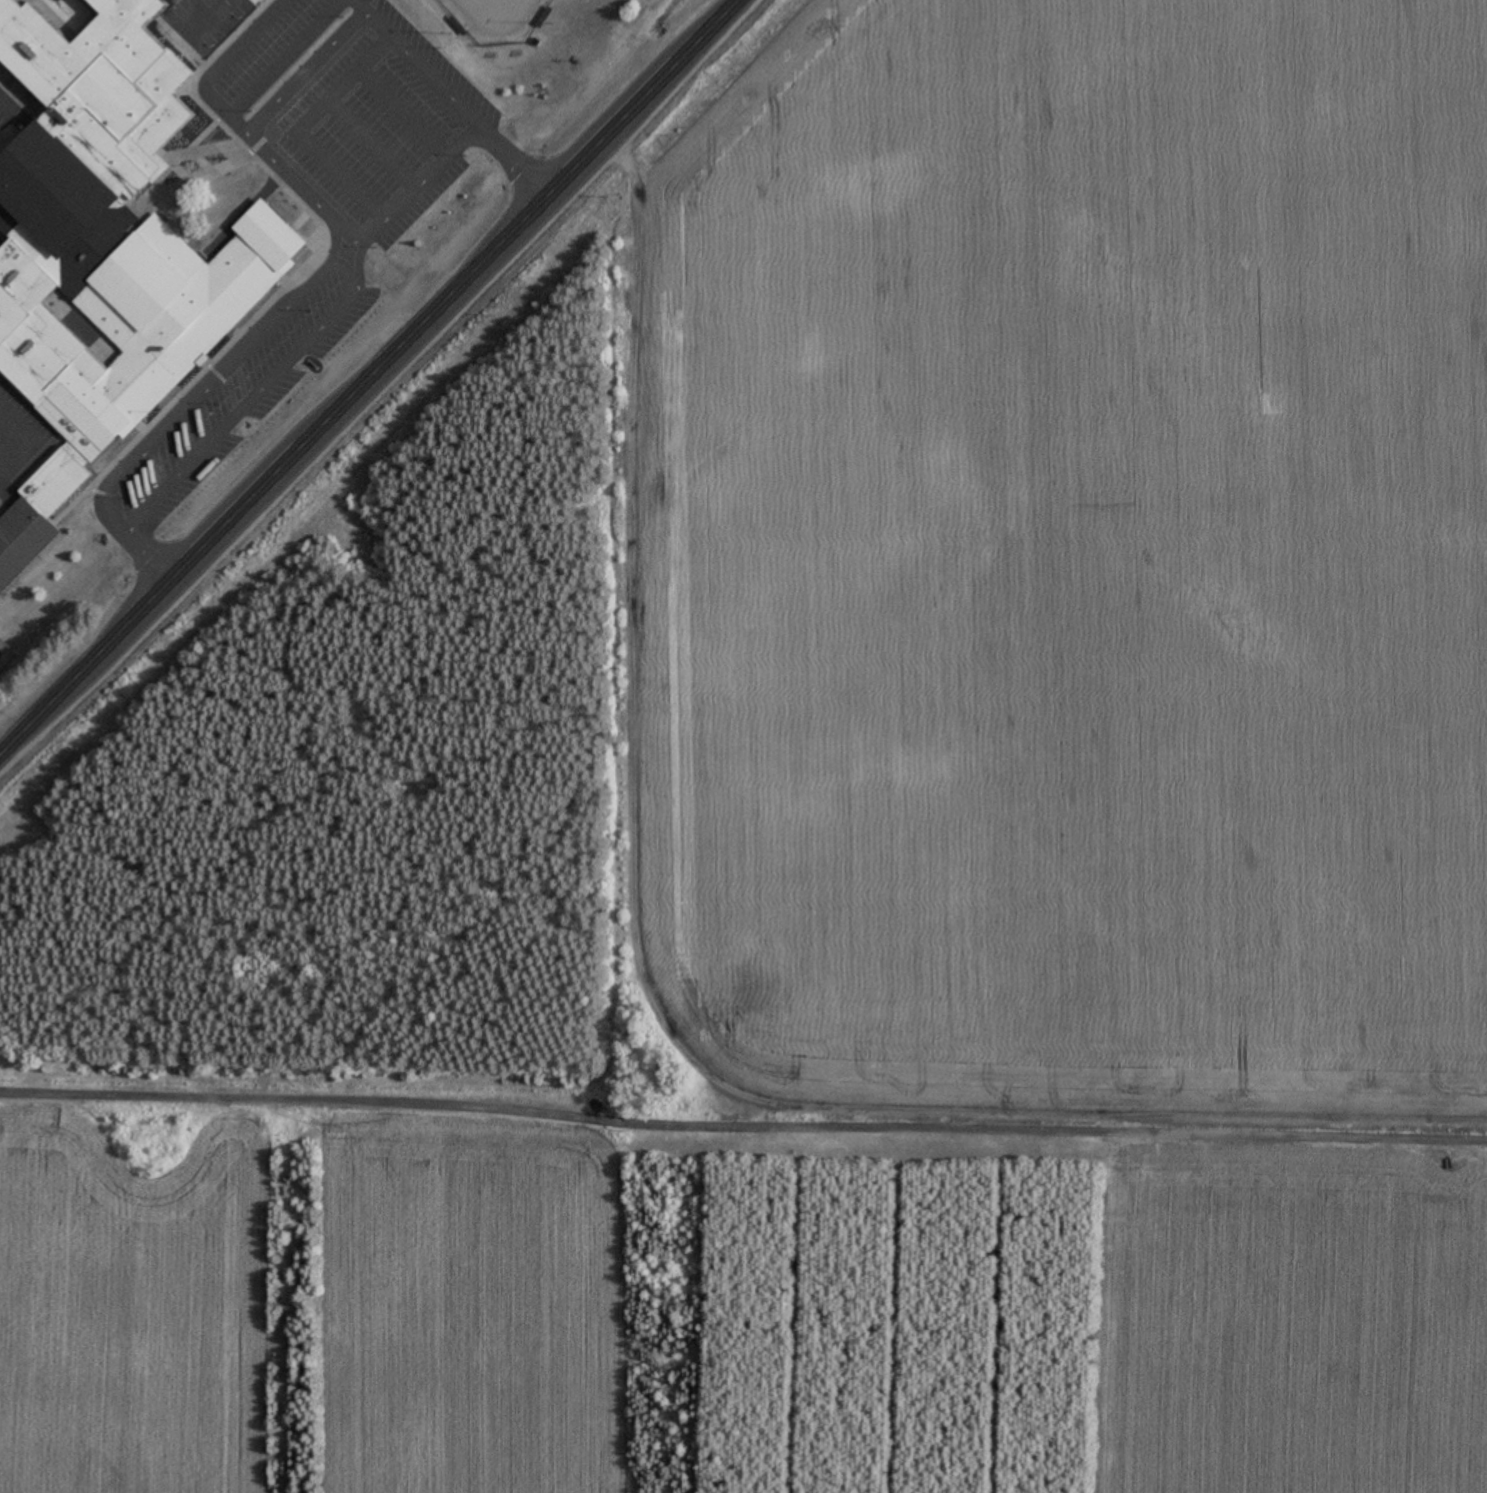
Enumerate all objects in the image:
road: (359, 14)
road: (310, 21)
park: (483, 22)
road: (409, 79)
road: (379, 101)
parking lot: (350, 131)
road: (346, 134)
road: (316, 164)
road: (500, 165)
road: (296, 206)
building: (107, 236)
road: (372, 378)
road: (208, 379)
building: (20, 536)
road: (101, 1436)

